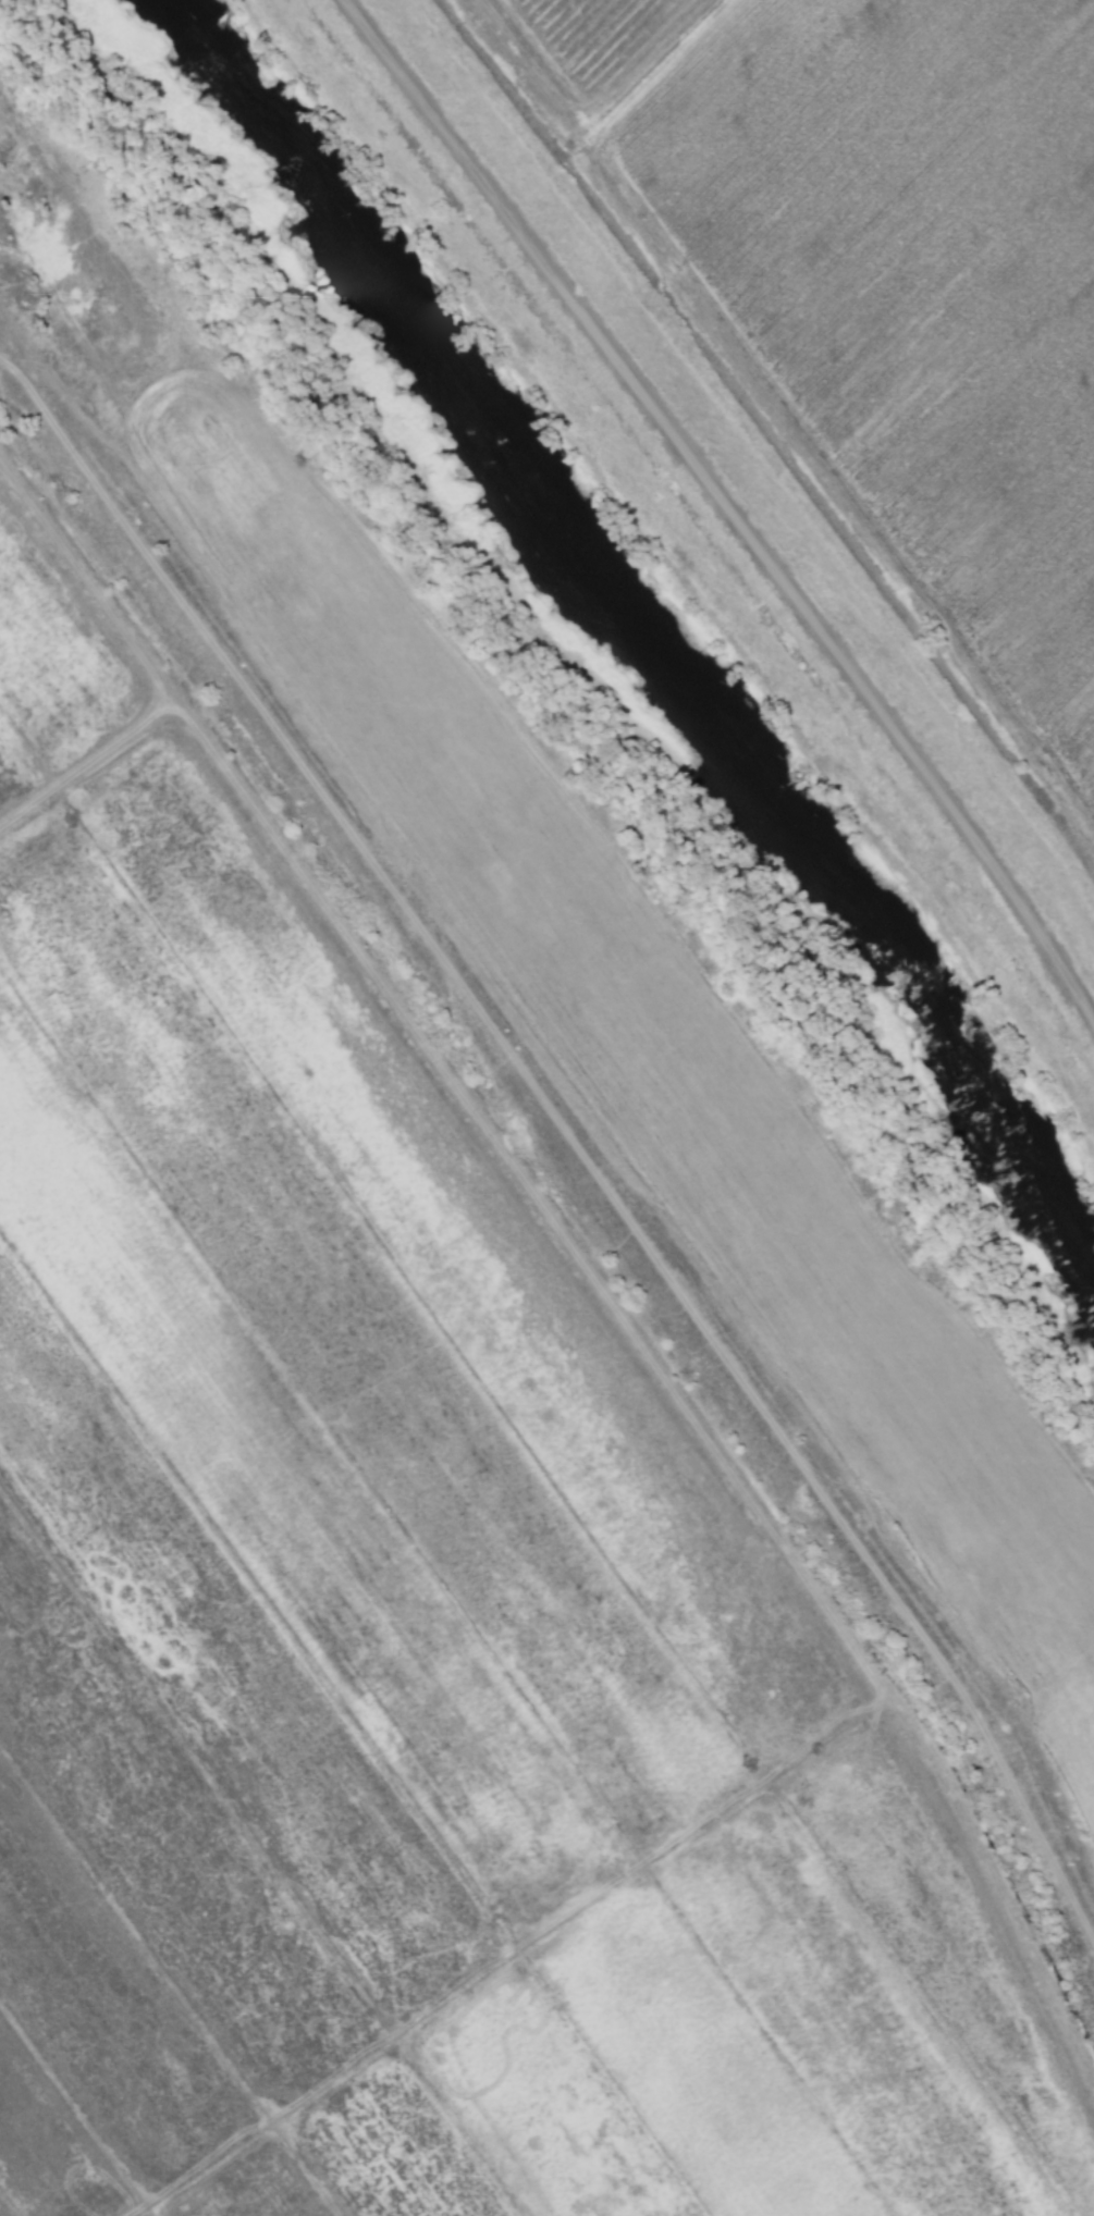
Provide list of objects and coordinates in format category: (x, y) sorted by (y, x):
crop: (866, 297)
crop: (474, 1346)

